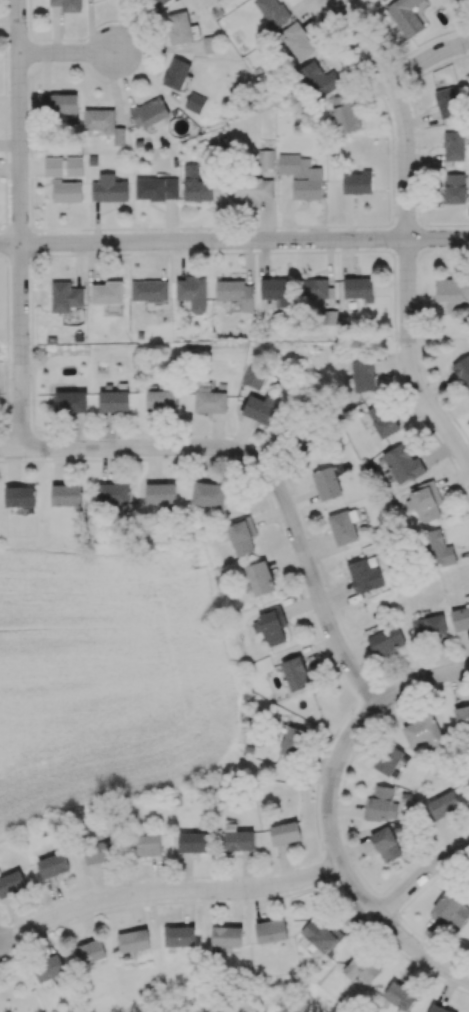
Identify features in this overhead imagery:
building: (159, 2)
building: (67, 4)
building: (273, 11)
building: (405, 16)
building: (180, 27)
building: (298, 40)
road: (71, 52)
road: (427, 59)
building: (176, 73)
building: (319, 77)
building: (194, 102)
building: (446, 102)
building: (44, 103)
building: (63, 103)
road: (402, 110)
building: (149, 112)
building: (345, 112)
road: (17, 122)
building: (104, 123)
building: (453, 145)
building: (265, 158)
building: (63, 166)
building: (301, 176)
building: (357, 182)
building: (196, 185)
building: (108, 188)
building: (156, 188)
building: (251, 188)
building: (454, 188)
building: (67, 191)
road: (234, 243)
road: (9, 256)
building: (313, 288)
building: (359, 288)
building: (149, 290)
building: (107, 292)
building: (236, 292)
building: (452, 292)
building: (193, 293)
building: (276, 293)
building: (65, 296)
road: (21, 348)
road: (412, 360)
building: (463, 369)
building: (363, 375)
building: (161, 400)
building: (210, 400)
building: (70, 401)
building: (114, 401)
building: (260, 408)
building: (383, 419)
building: (402, 464)
road: (259, 471)
building: (326, 483)
building: (160, 493)
building: (66, 494)
building: (113, 494)
building: (208, 494)
building: (19, 496)
building: (426, 501)
building: (341, 527)
building: (242, 535)
building: (436, 548)
building: (365, 575)
building: (260, 578)
building: (460, 617)
building: (273, 625)
building: (428, 626)
building: (386, 640)
building: (295, 673)
crop: (103, 674)
building: (462, 716)
building: (423, 732)
road: (348, 739)
building: (293, 741)
building: (388, 759)
building: (378, 803)
building: (443, 804)
building: (284, 832)
building: (239, 839)
building: (192, 841)
building: (388, 841)
building: (145, 845)
building: (98, 848)
building: (52, 865)
road: (421, 881)
building: (11, 883)
road: (168, 894)
building: (450, 911)
building: (271, 930)
building: (179, 935)
building: (322, 935)
building: (226, 936)
road: (399, 939)
building: (133, 940)
building: (90, 952)
building: (49, 967)
building: (362, 967)
building: (399, 996)
building: (438, 1008)

